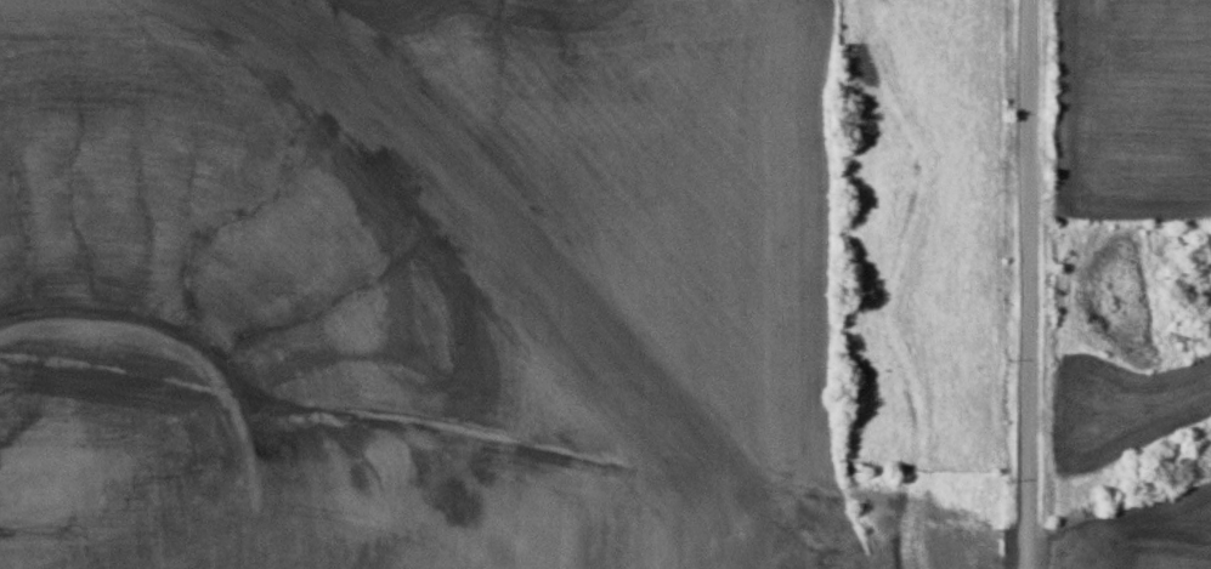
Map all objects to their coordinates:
road: (1024, 284)

